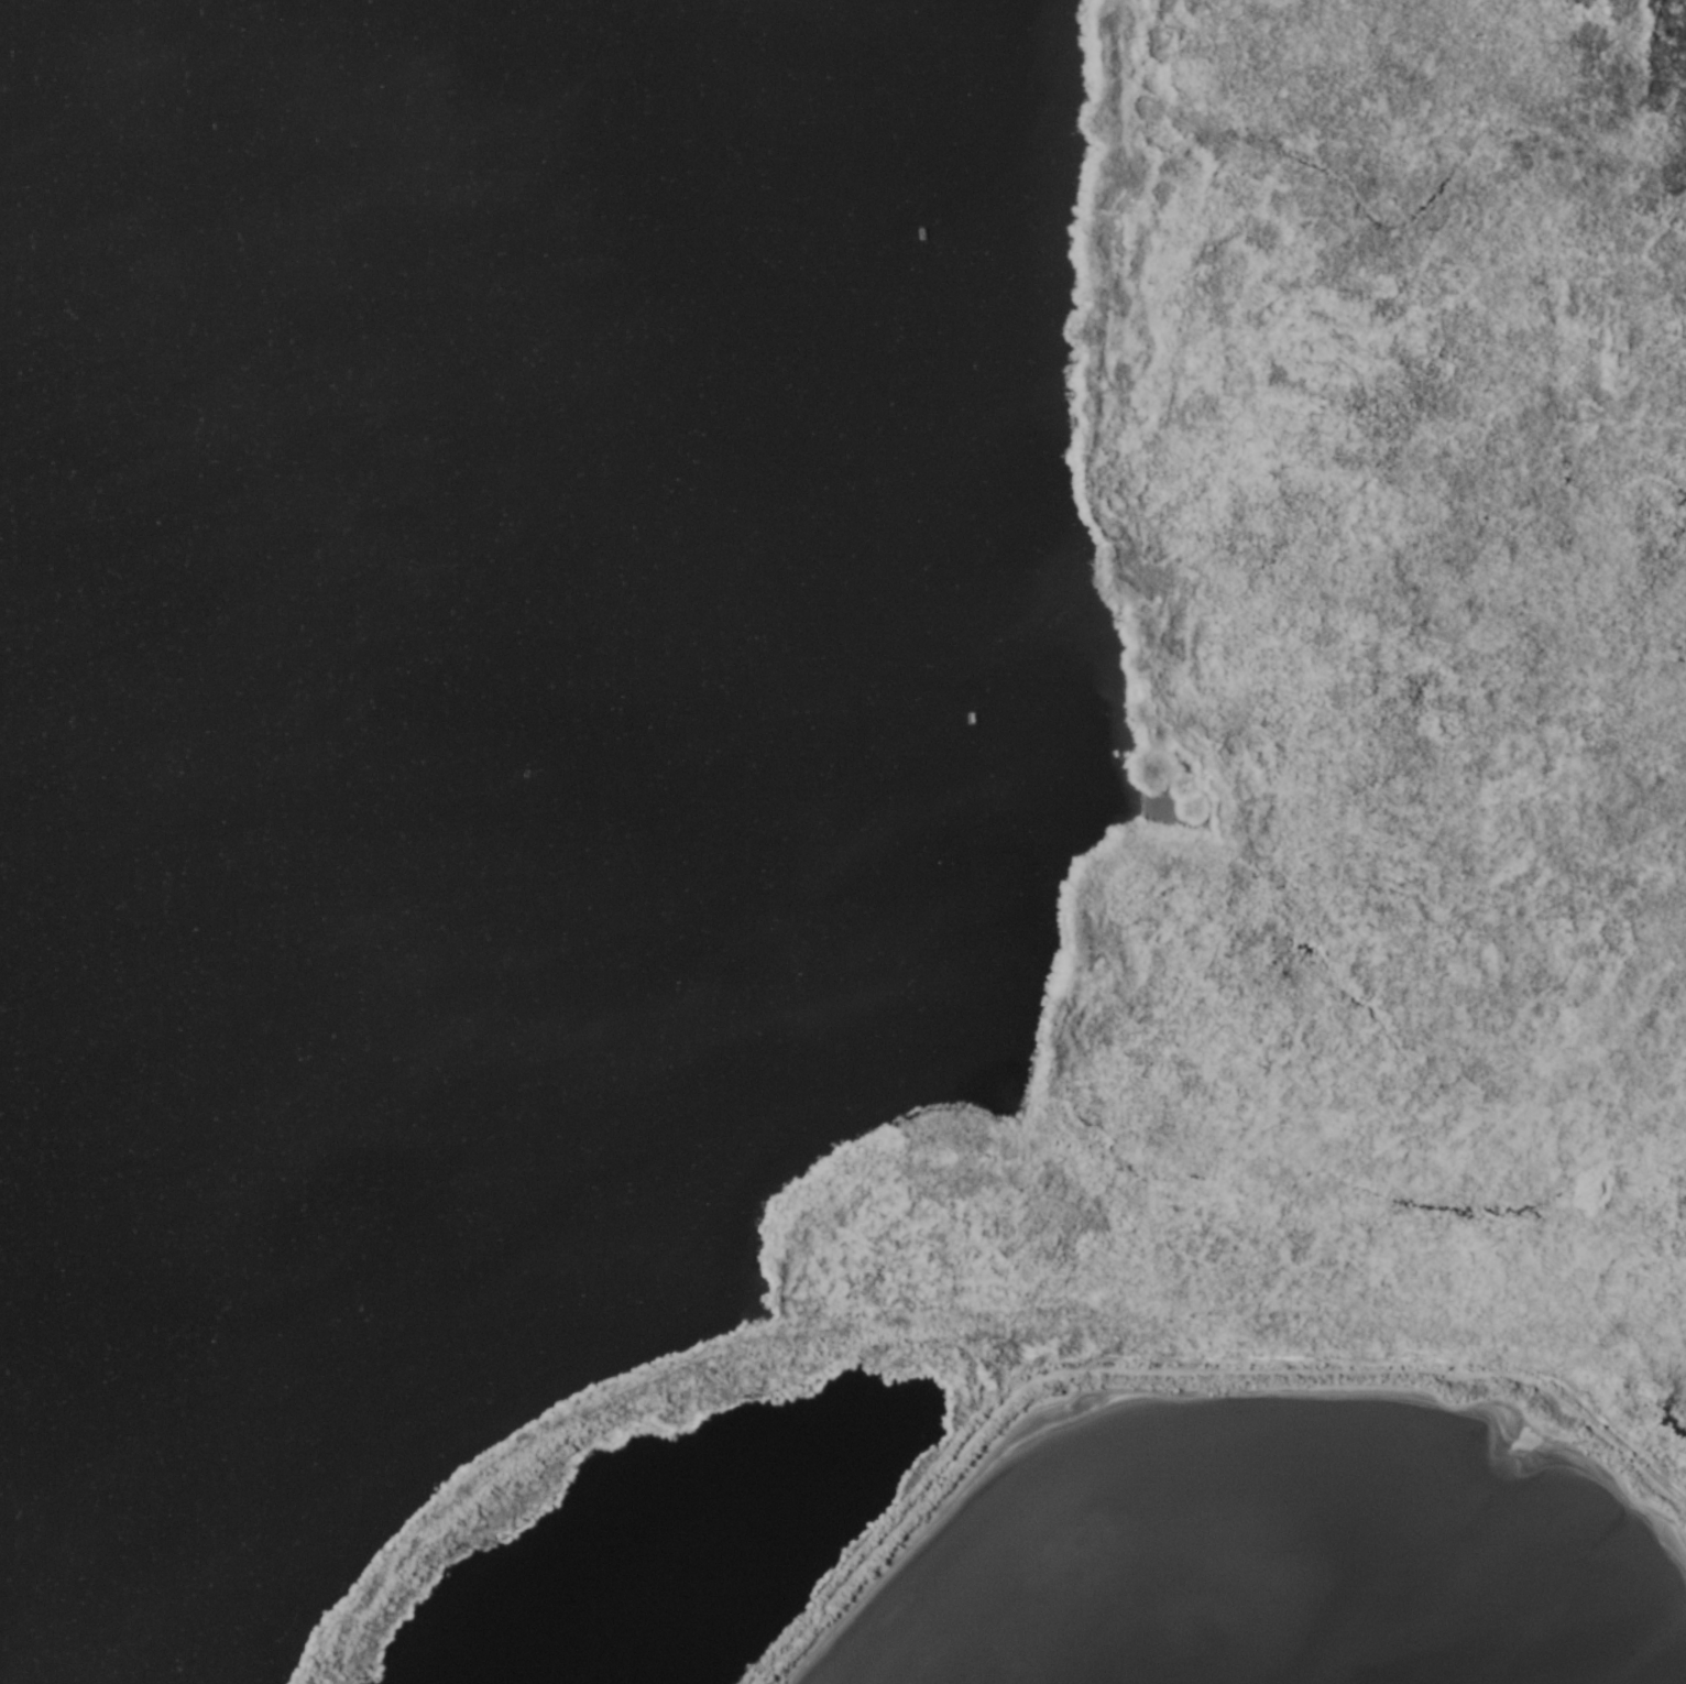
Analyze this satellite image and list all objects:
road: (1606, 1336)

